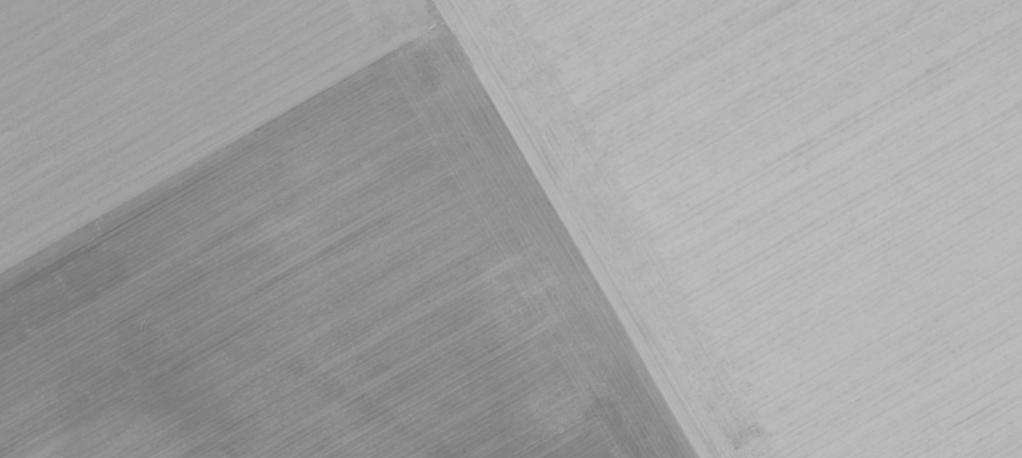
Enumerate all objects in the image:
road: (219, 137)
road: (565, 229)

